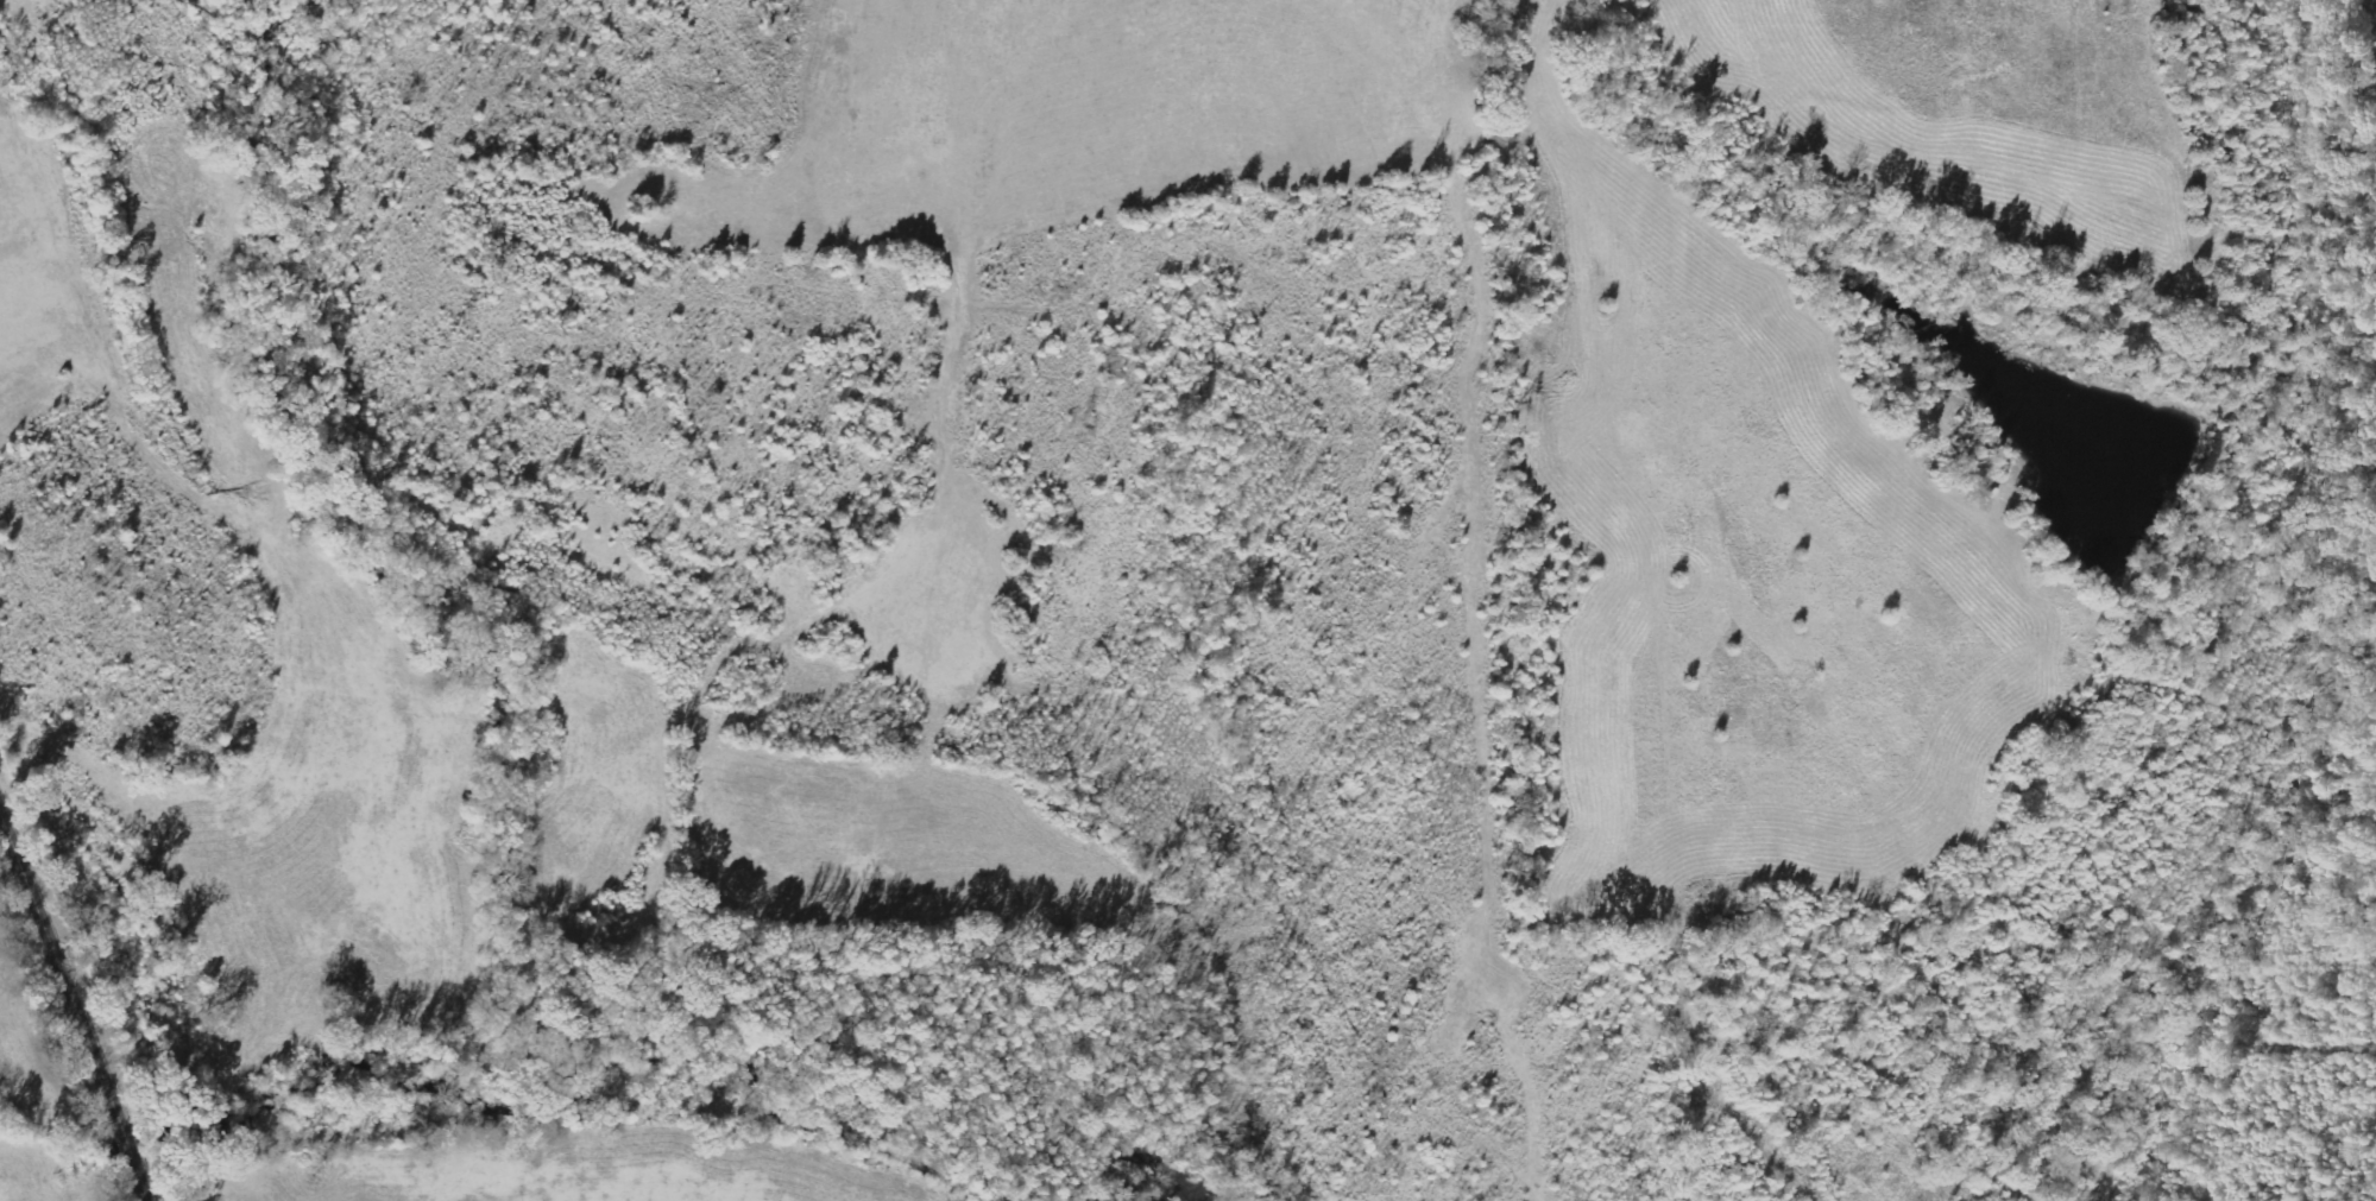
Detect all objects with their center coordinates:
road: (75, 1000)
road: (42, 1043)

